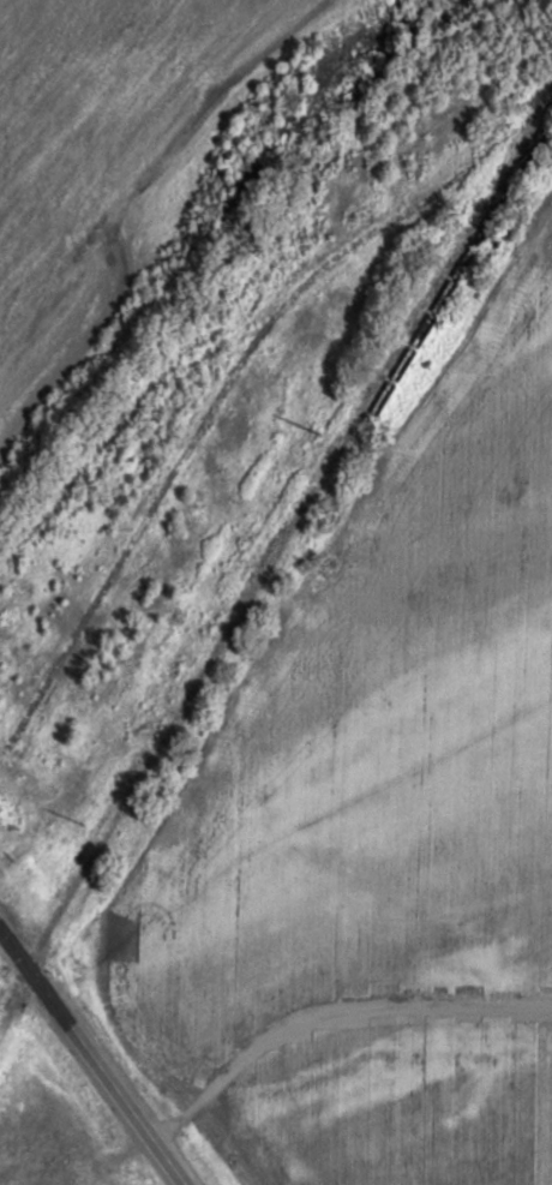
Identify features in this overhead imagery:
railway: (451, 277)
railway: (227, 390)
power tower: (320, 433)
railway: (276, 545)
power tower: (85, 822)
road: (335, 1033)
road: (94, 1054)

